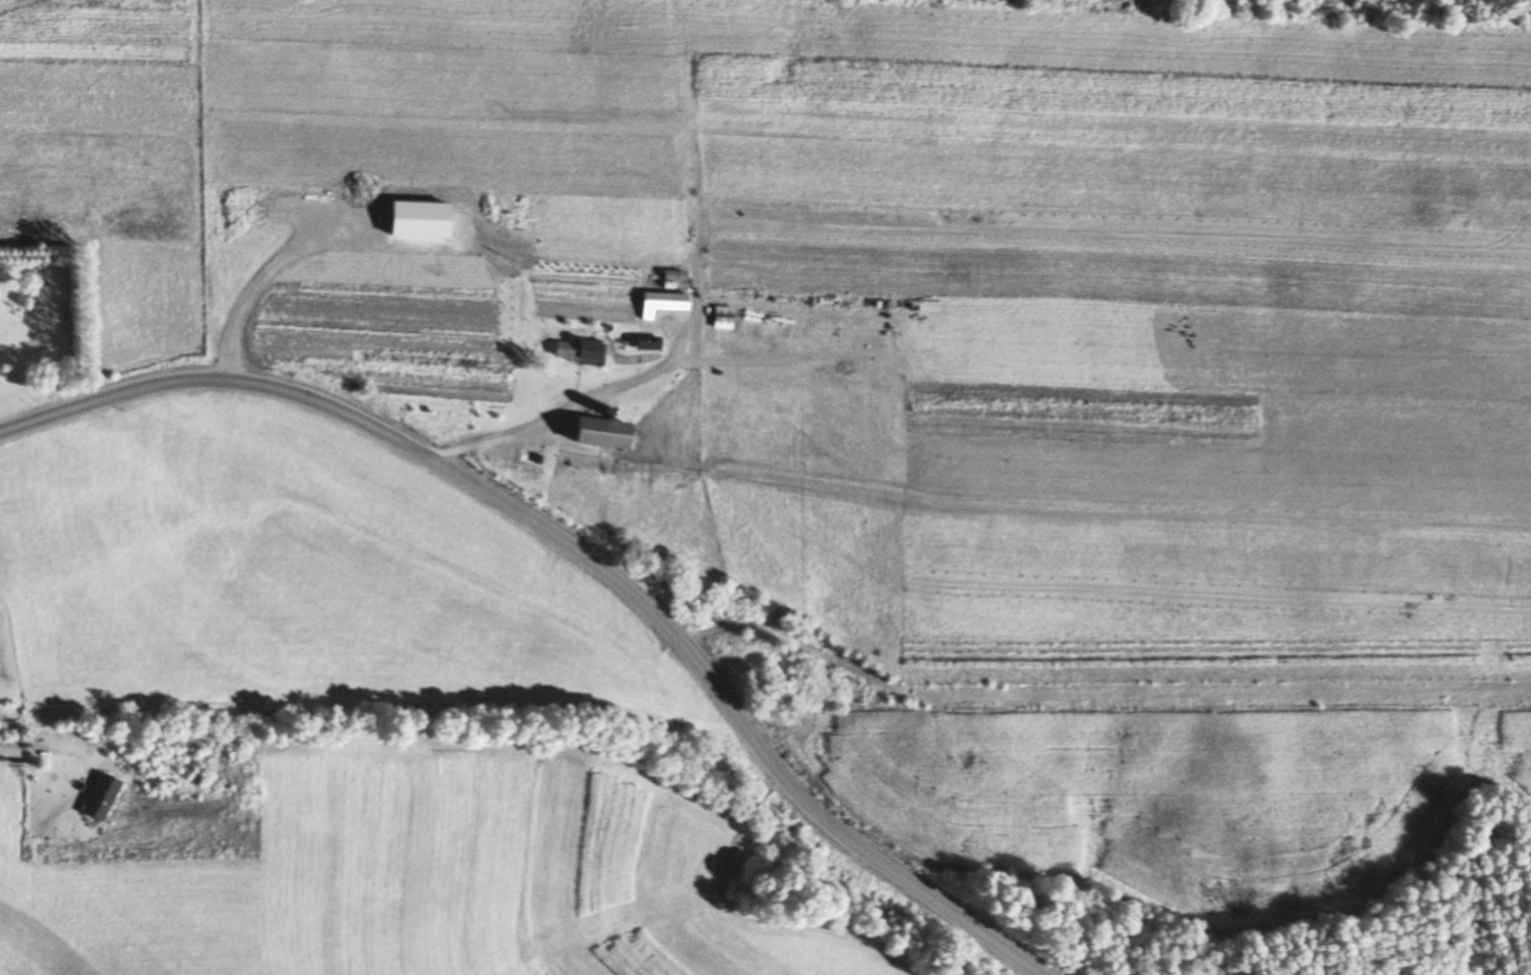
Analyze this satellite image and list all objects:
crop: (885, 289)
building: (658, 303)
building: (563, 350)
road: (564, 412)
building: (596, 434)
road: (580, 552)
crop: (279, 575)
road: (27, 752)
crop: (1158, 786)
building: (96, 797)
crop: (415, 879)

